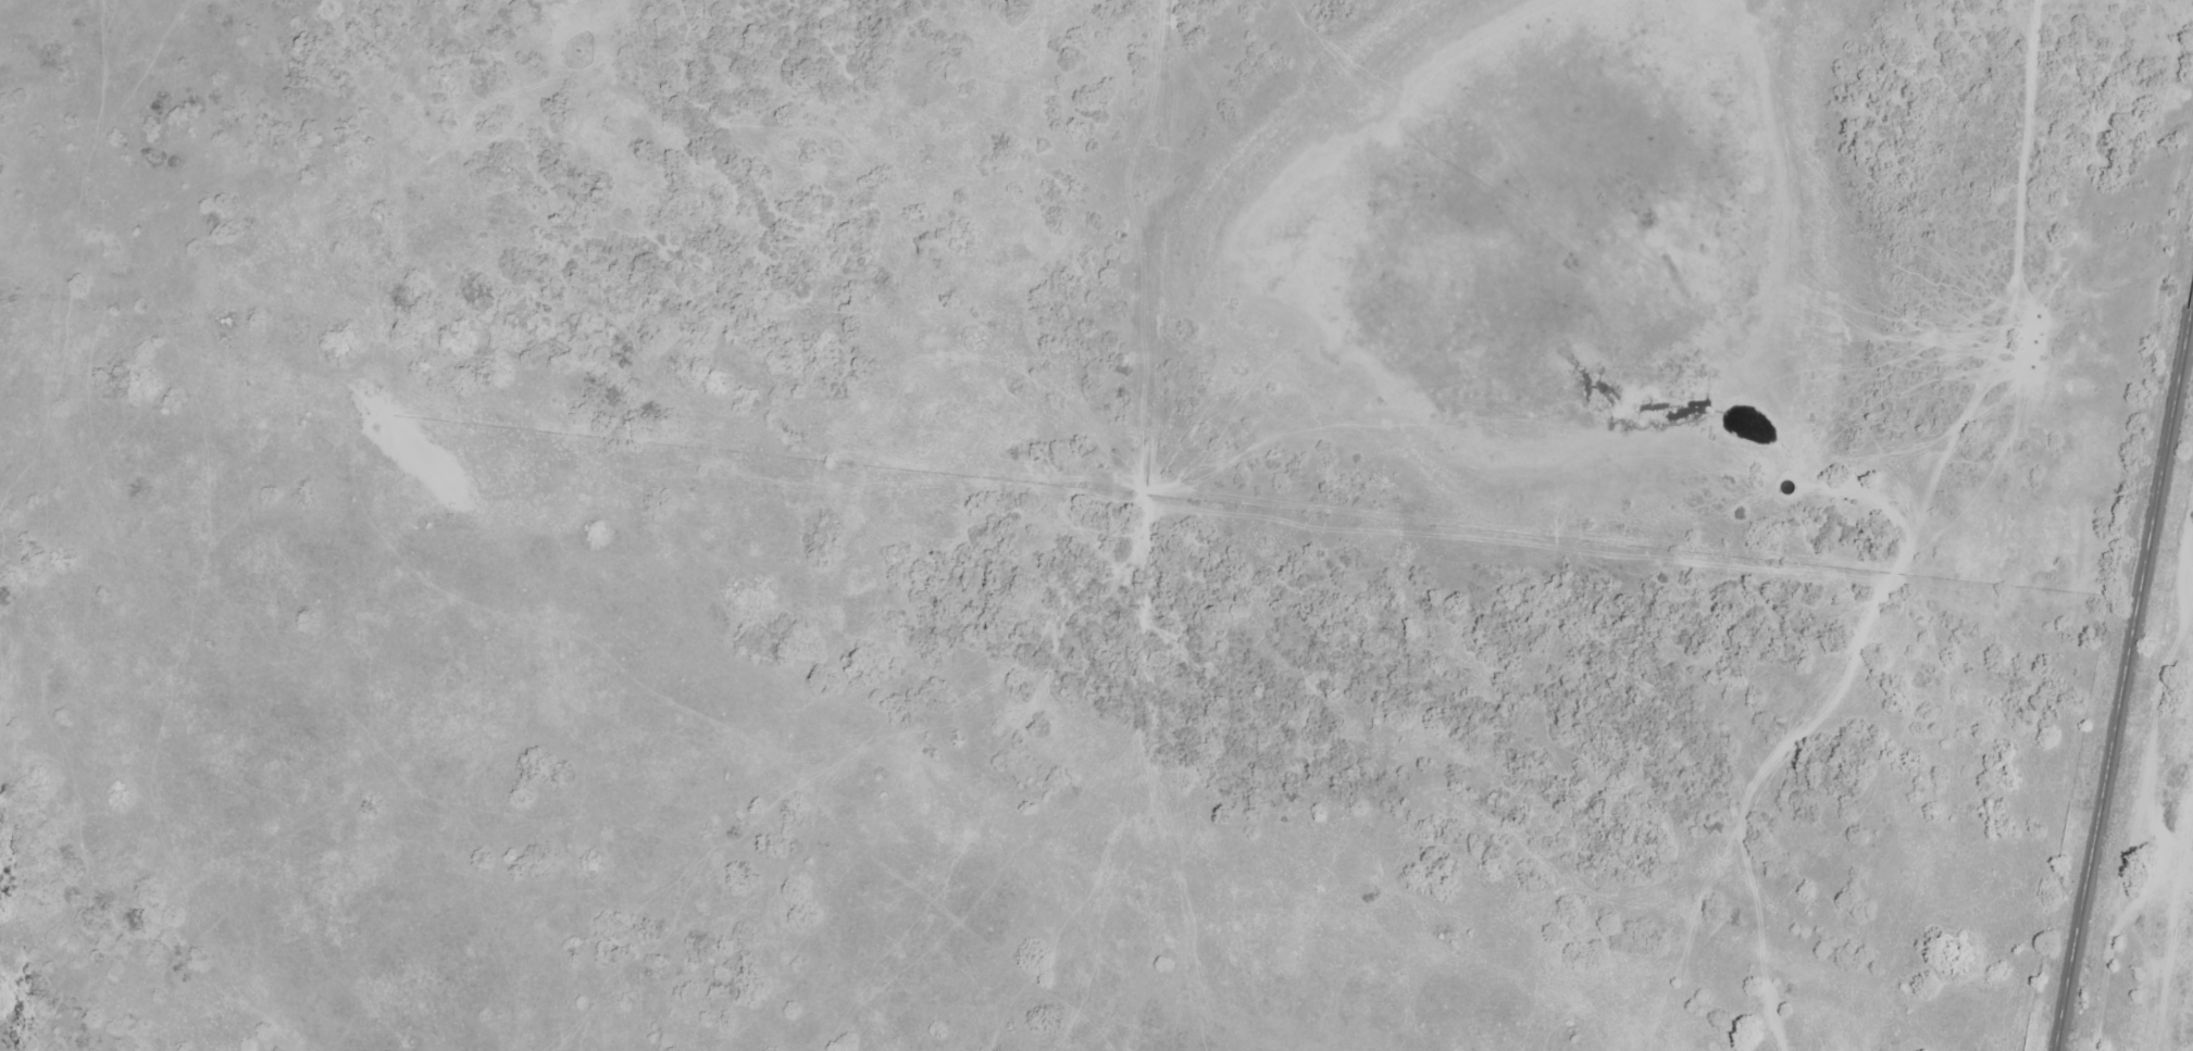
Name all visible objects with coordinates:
road: (2031, 524)
railway: (2126, 678)

